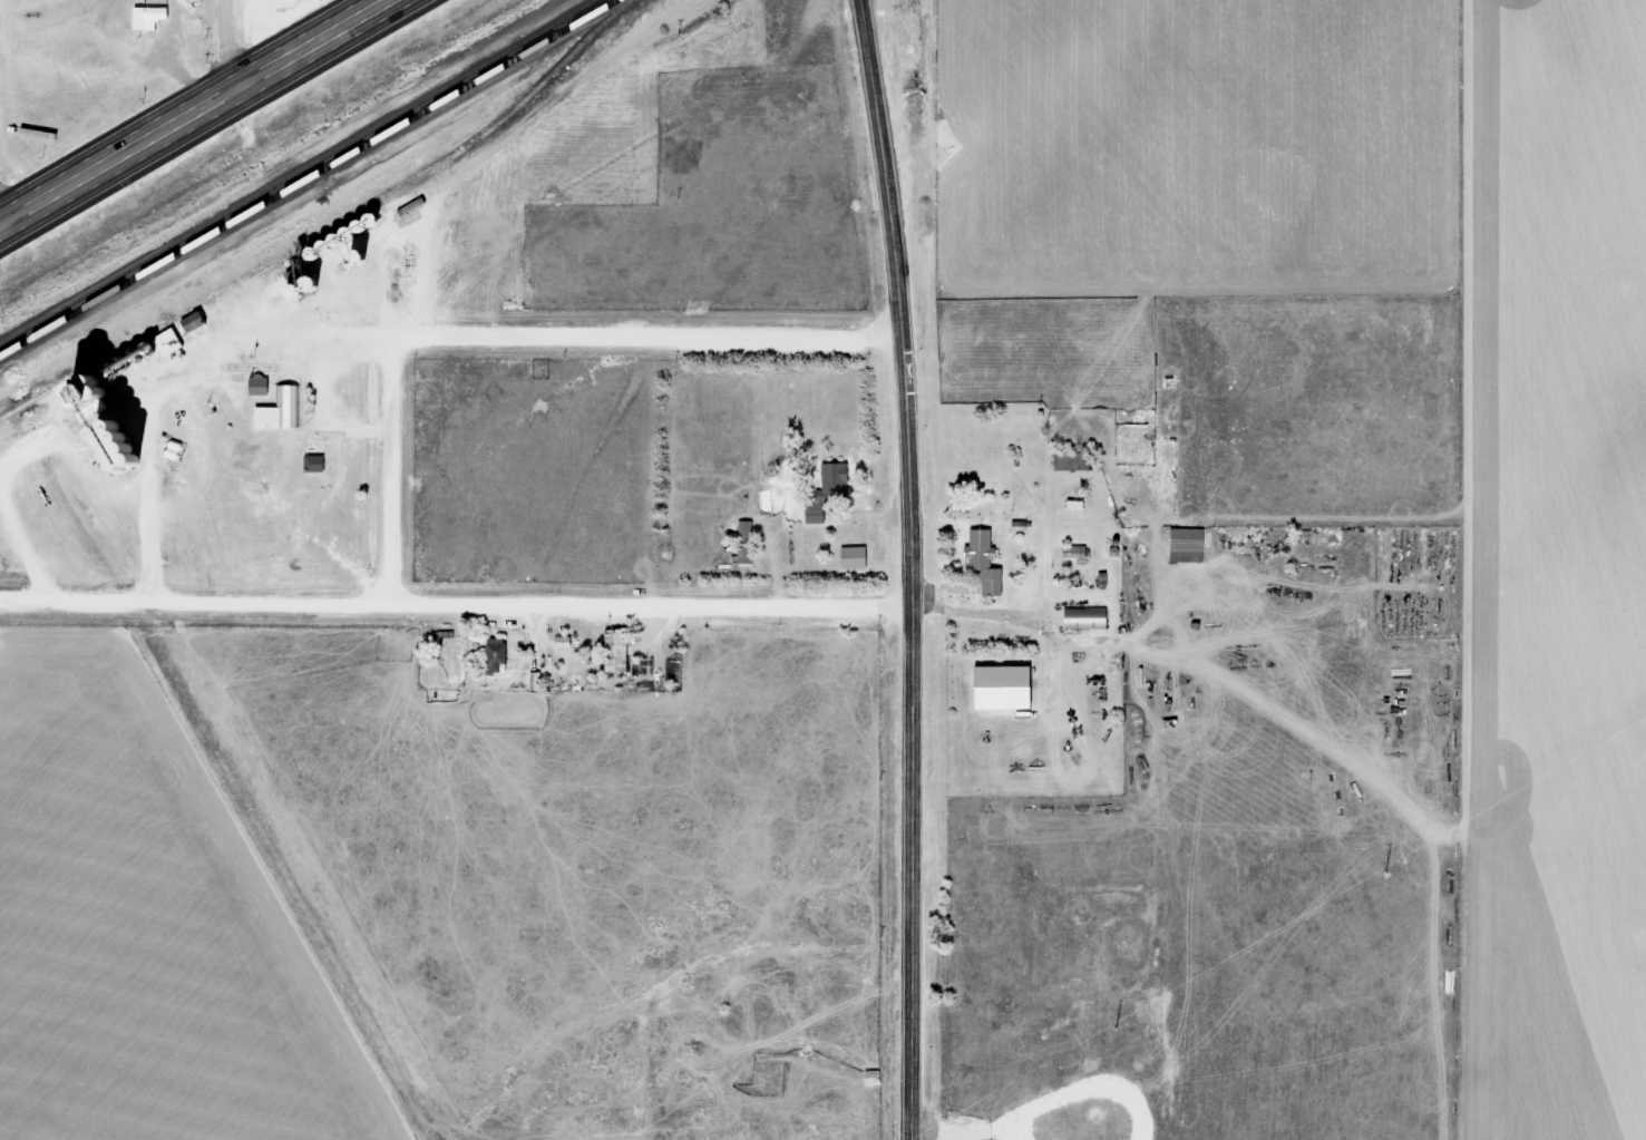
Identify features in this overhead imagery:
building: (155, 17)
road: (227, 47)
road: (195, 113)
railway: (299, 173)
railway: (309, 178)
railway: (329, 227)
road: (415, 301)
road: (653, 337)
road: (322, 363)
building: (264, 387)
building: (104, 397)
building: (308, 406)
building: (285, 409)
building: (1077, 461)
building: (320, 464)
road: (388, 469)
building: (841, 474)
building: (819, 514)
building: (1192, 546)
building: (750, 553)
building: (859, 558)
building: (990, 562)
road: (910, 568)
road: (455, 604)
building: (1092, 618)
building: (622, 652)
building: (537, 682)
building: (1012, 688)
power tower: (1405, 860)
power tower: (1107, 1036)

